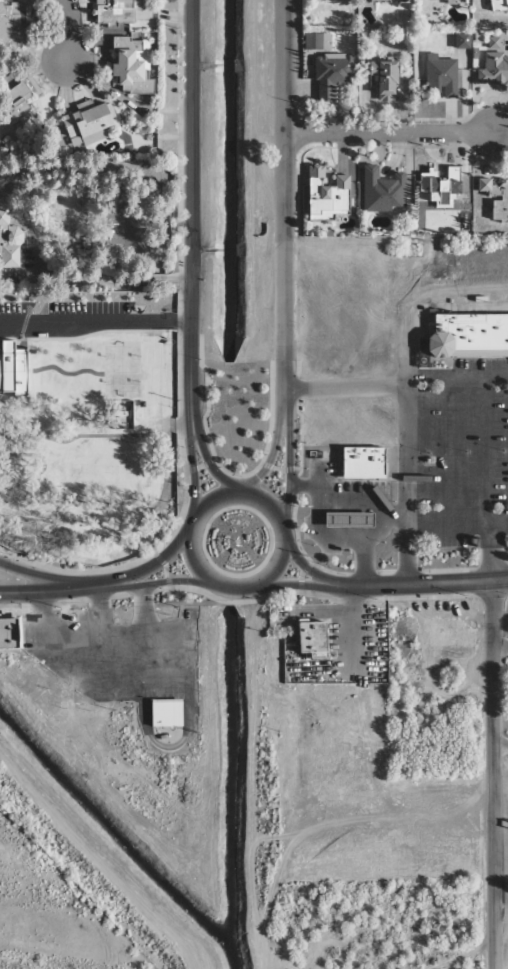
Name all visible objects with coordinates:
building: (440, 0)
building: (496, 5)
building: (114, 11)
building: (15, 21)
road: (69, 31)
building: (315, 41)
building: (494, 64)
building: (130, 66)
building: (330, 74)
building: (439, 77)
building: (383, 81)
building: (15, 114)
building: (85, 120)
road: (390, 133)
building: (440, 188)
building: (380, 191)
building: (324, 194)
building: (495, 199)
road: (189, 201)
road: (284, 204)
building: (8, 245)
parking lot: (18, 309)
road: (94, 322)
building: (464, 343)
building: (86, 392)
road: (439, 420)
road: (400, 431)
building: (111, 448)
road: (203, 453)
road: (269, 456)
parking lot: (459, 460)
road: (189, 462)
building: (360, 463)
road: (287, 464)
road: (205, 505)
road: (270, 507)
road: (366, 510)
building: (346, 520)
road: (473, 527)
road: (484, 554)
road: (356, 555)
road: (191, 561)
road: (277, 567)
road: (140, 570)
road: (310, 573)
road: (42, 579)
road: (303, 584)
road: (429, 585)
road: (146, 586)
road: (230, 590)
road: (42, 591)
building: (8, 634)
building: (309, 638)
building: (164, 713)
road: (500, 746)
road: (493, 775)
road: (501, 906)

